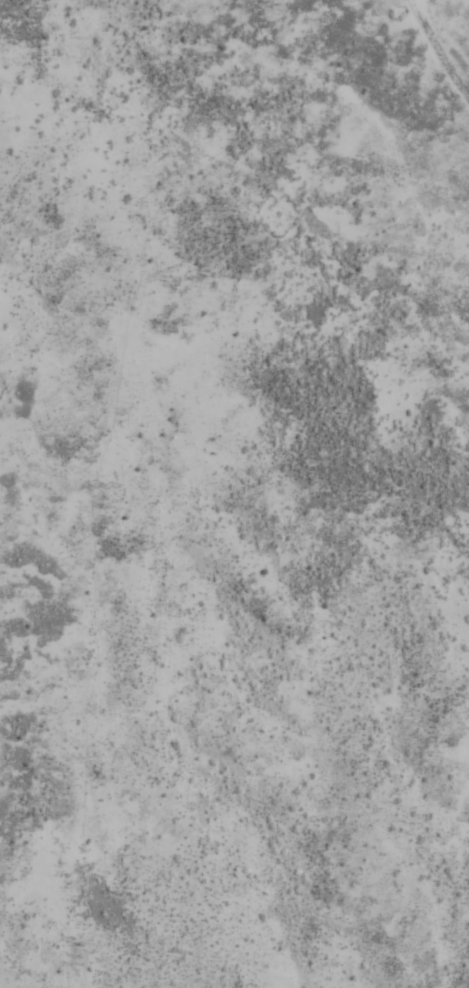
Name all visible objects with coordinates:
road: (444, 39)

